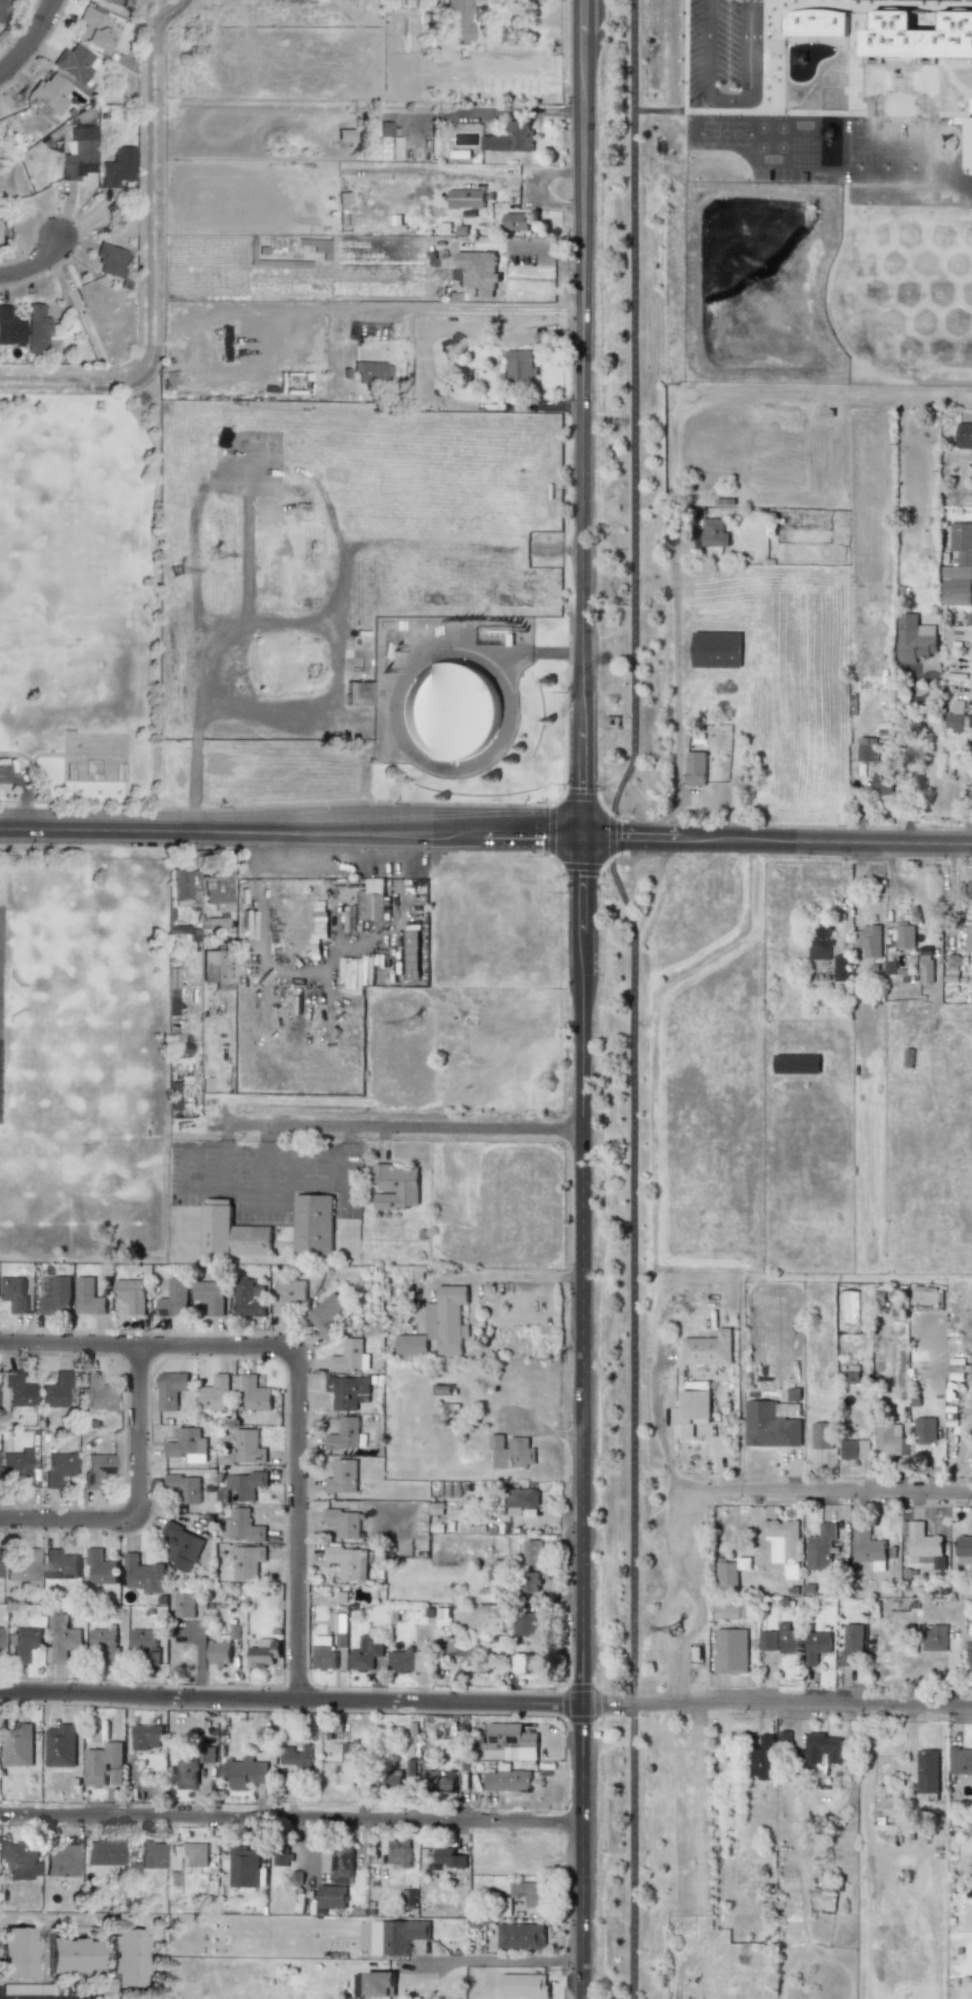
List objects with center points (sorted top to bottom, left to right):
building: (114, 3)
building: (3, 6)
building: (457, 20)
building: (815, 22)
building: (92, 29)
building: (918, 36)
road: (30, 39)
building: (73, 63)
building: (49, 93)
power tower: (18, 104)
road: (490, 110)
building: (971, 135)
building: (511, 138)
road: (586, 152)
building: (78, 154)
building: (117, 167)
building: (472, 198)
building: (516, 221)
building: (110, 260)
road: (34, 264)
building: (477, 272)
road: (493, 308)
building: (9, 328)
building: (35, 329)
building: (520, 365)
building: (372, 371)
road: (505, 405)
building: (964, 434)
building: (714, 532)
power tower: (212, 555)
building: (959, 567)
road: (585, 570)
park: (71, 605)
building: (915, 638)
building: (717, 649)
road: (532, 651)
road: (414, 664)
road: (677, 691)
building: (358, 693)
building: (450, 711)
storage tank: (450, 711)
building: (957, 716)
building: (867, 749)
road: (908, 760)
parking lot: (8, 764)
building: (696, 767)
building: (883, 778)
road: (20, 793)
road: (969, 804)
road: (292, 831)
road: (778, 840)
building: (185, 887)
building: (217, 888)
road: (952, 893)
road: (912, 894)
road: (890, 897)
building: (366, 904)
building: (906, 934)
building: (969, 937)
building: (820, 941)
building: (872, 941)
building: (954, 966)
building: (842, 967)
building: (926, 967)
building: (217, 968)
building: (355, 974)
road: (633, 995)
power tower: (409, 1005)
building: (798, 1063)
road: (404, 1127)
road: (381, 1143)
road: (223, 1157)
road: (263, 1164)
road: (294, 1167)
parking lot: (263, 1176)
road: (189, 1182)
road: (307, 1186)
building: (395, 1187)
building: (312, 1228)
building: (230, 1235)
road: (509, 1275)
building: (14, 1293)
building: (132, 1294)
building: (289, 1294)
building: (59, 1296)
building: (211, 1296)
building: (89, 1297)
building: (176, 1298)
building: (249, 1298)
building: (850, 1307)
building: (325, 1313)
building: (449, 1318)
building: (411, 1344)
building: (709, 1348)
building: (350, 1357)
power tower: (561, 1362)
road: (297, 1373)
building: (18, 1389)
building: (171, 1389)
building: (55, 1391)
building: (348, 1391)
building: (96, 1393)
building: (215, 1393)
building: (256, 1394)
building: (953, 1395)
building: (692, 1412)
road: (585, 1417)
building: (770, 1426)
building: (925, 1430)
building: (345, 1434)
building: (822, 1435)
building: (890, 1438)
building: (188, 1445)
building: (244, 1449)
building: (855, 1449)
building: (511, 1452)
building: (17, 1467)
building: (55, 1468)
building: (96, 1469)
building: (343, 1477)
building: (184, 1487)
building: (242, 1487)
road: (826, 1491)
building: (521, 1500)
road: (138, 1502)
building: (344, 1522)
building: (241, 1526)
building: (867, 1545)
building: (924, 1545)
building: (181, 1546)
building: (822, 1547)
building: (964, 1549)
building: (533, 1552)
building: (247, 1561)
building: (349, 1562)
building: (60, 1564)
building: (100, 1567)
building: (23, 1568)
building: (727, 1574)
building: (144, 1575)
building: (531, 1581)
building: (487, 1593)
building: (184, 1605)
building: (525, 1624)
building: (341, 1628)
power tower: (679, 1629)
building: (0, 1638)
building: (788, 1638)
building: (935, 1638)
building: (62, 1639)
building: (768, 1641)
building: (23, 1642)
building: (852, 1643)
building: (104, 1644)
building: (144, 1645)
building: (817, 1646)
building: (462, 1649)
building: (731, 1650)
building: (219, 1651)
building: (970, 1651)
building: (264, 1653)
building: (324, 1653)
building: (365, 1654)
building: (403, 1660)
building: (524, 1663)
road: (485, 1701)
building: (147, 1736)
building: (516, 1740)
building: (18, 1745)
building: (61, 1746)
building: (822, 1749)
building: (207, 1754)
building: (354, 1755)
building: (296, 1756)
building: (763, 1758)
building: (960, 1761)
building: (104, 1764)
building: (411, 1768)
building: (187, 1771)
building: (928, 1771)
building: (244, 1772)
building: (391, 1777)
building: (438, 1779)
building: (508, 1779)
road: (292, 1818)
building: (400, 1852)
building: (103, 1853)
building: (194, 1854)
building: (152, 1855)
building: (449, 1857)
building: (282, 1858)
building: (22, 1861)
building: (61, 1861)
building: (342, 1864)
building: (244, 1867)
building: (529, 1893)
building: (332, 1896)
building: (397, 1936)
building: (521, 1936)
building: (16, 1953)
building: (71, 1955)
building: (127, 1957)
road: (499, 1960)
building: (379, 1983)
building: (523, 1985)

